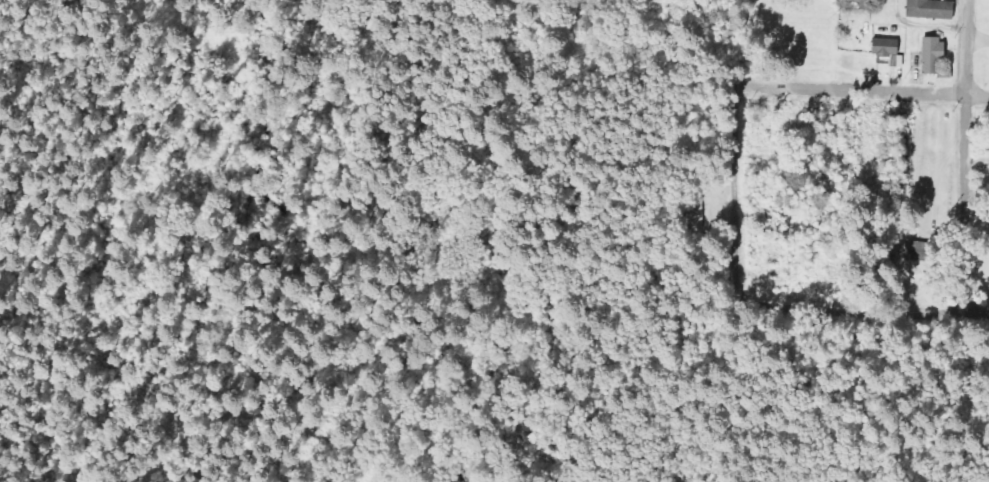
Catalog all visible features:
building: (927, 9)
building: (883, 47)
building: (933, 58)
road: (863, 90)
road: (962, 156)
road: (733, 197)
building: (908, 246)
road: (866, 311)

